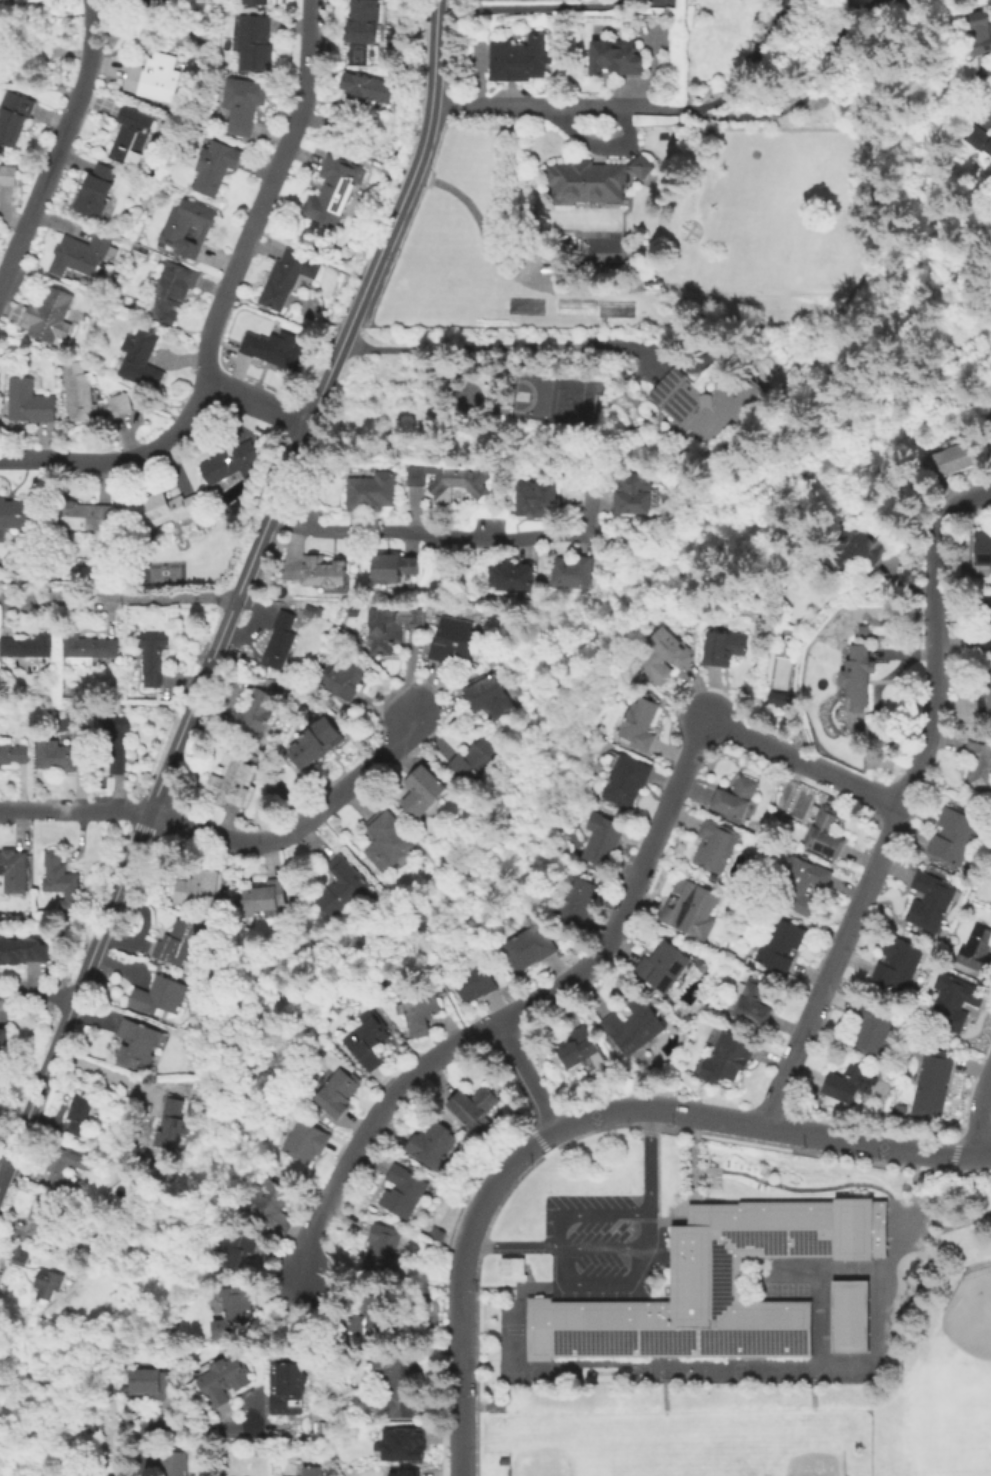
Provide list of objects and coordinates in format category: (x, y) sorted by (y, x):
building: (18, 0)
building: (255, 0)
road: (526, 4)
building: (147, 5)
building: (362, 20)
building: (973, 32)
building: (254, 41)
building: (520, 56)
building: (615, 56)
road: (747, 64)
building: (152, 76)
building: (365, 100)
building: (243, 103)
road: (560, 104)
building: (13, 115)
building: (130, 133)
road: (55, 140)
building: (975, 142)
building: (215, 165)
building: (7, 175)
building: (593, 178)
building: (94, 189)
road: (263, 192)
building: (332, 192)
building: (187, 225)
building: (79, 253)
building: (282, 277)
building: (170, 291)
building: (49, 316)
road: (500, 343)
building: (273, 350)
building: (141, 358)
building: (78, 389)
building: (704, 399)
road: (256, 401)
building: (30, 403)
building: (988, 433)
road: (120, 458)
building: (233, 461)
building: (943, 464)
building: (450, 479)
building: (371, 490)
building: (633, 491)
building: (537, 497)
road: (966, 500)
building: (163, 508)
road: (590, 509)
building: (84, 514)
building: (19, 515)
road: (445, 535)
building: (983, 547)
building: (856, 553)
building: (394, 566)
building: (323, 570)
building: (574, 571)
building: (511, 574)
road: (234, 592)
road: (116, 594)
building: (987, 626)
building: (391, 627)
building: (863, 627)
building: (279, 639)
building: (452, 639)
building: (27, 644)
building: (89, 645)
building: (724, 646)
building: (151, 654)
building: (663, 654)
building: (344, 676)
building: (857, 676)
building: (489, 695)
building: (983, 696)
building: (775, 697)
building: (253, 713)
building: (639, 722)
building: (116, 741)
building: (313, 741)
building: (13, 752)
building: (63, 757)
building: (475, 757)
road: (803, 758)
building: (977, 770)
building: (627, 779)
building: (229, 783)
building: (422, 789)
building: (735, 796)
road: (72, 812)
road: (889, 827)
road: (299, 828)
building: (826, 831)
building: (954, 836)
building: (386, 838)
building: (603, 840)
building: (715, 844)
road: (353, 853)
building: (14, 870)
building: (61, 878)
building: (199, 887)
building: (339, 887)
building: (802, 887)
building: (264, 896)
building: (578, 900)
building: (927, 904)
building: (990, 905)
building: (691, 909)
road: (415, 933)
building: (180, 940)
building: (780, 943)
building: (530, 944)
building: (977, 948)
building: (22, 952)
building: (663, 964)
building: (730, 966)
building: (893, 969)
building: (474, 980)
road: (35, 994)
building: (159, 994)
building: (753, 1003)
road: (453, 1005)
building: (951, 1005)
building: (418, 1010)
road: (519, 1012)
building: (634, 1026)
building: (871, 1026)
building: (367, 1039)
building: (137, 1042)
building: (4, 1043)
building: (578, 1045)
building: (728, 1058)
road: (108, 1071)
road: (527, 1077)
building: (846, 1081)
building: (931, 1086)
building: (337, 1090)
building: (473, 1103)
building: (80, 1112)
road: (979, 1115)
road: (706, 1116)
building: (171, 1122)
road: (696, 1128)
building: (305, 1140)
building: (432, 1142)
road: (871, 1144)
road: (985, 1155)
road: (917, 1161)
road: (650, 1162)
road: (3, 1163)
building: (66, 1165)
building: (402, 1190)
road: (806, 1190)
road: (685, 1200)
building: (272, 1205)
building: (41, 1214)
road: (589, 1214)
road: (939, 1225)
road: (962, 1226)
road: (931, 1229)
road: (468, 1237)
building: (237, 1247)
road: (513, 1247)
road: (617, 1247)
building: (381, 1249)
building: (22, 1257)
building: (511, 1269)
building: (48, 1282)
road: (599, 1283)
building: (715, 1285)
road: (487, 1287)
road: (542, 1287)
road: (824, 1291)
building: (238, 1310)
building: (373, 1312)
building: (851, 1316)
park: (960, 1341)
park: (942, 1348)
road: (750, 1371)
road: (660, 1377)
building: (224, 1379)
road: (674, 1379)
road: (821, 1379)
road: (804, 1380)
building: (148, 1381)
road: (530, 1383)
building: (289, 1388)
building: (396, 1388)
road: (484, 1406)
road: (255, 1414)
road: (870, 1415)
park: (954, 1418)
road: (186, 1428)
building: (406, 1441)
park: (574, 1443)
park: (790, 1444)
building: (223, 1461)
building: (175, 1463)
building: (388, 1469)
building: (314, 1470)

